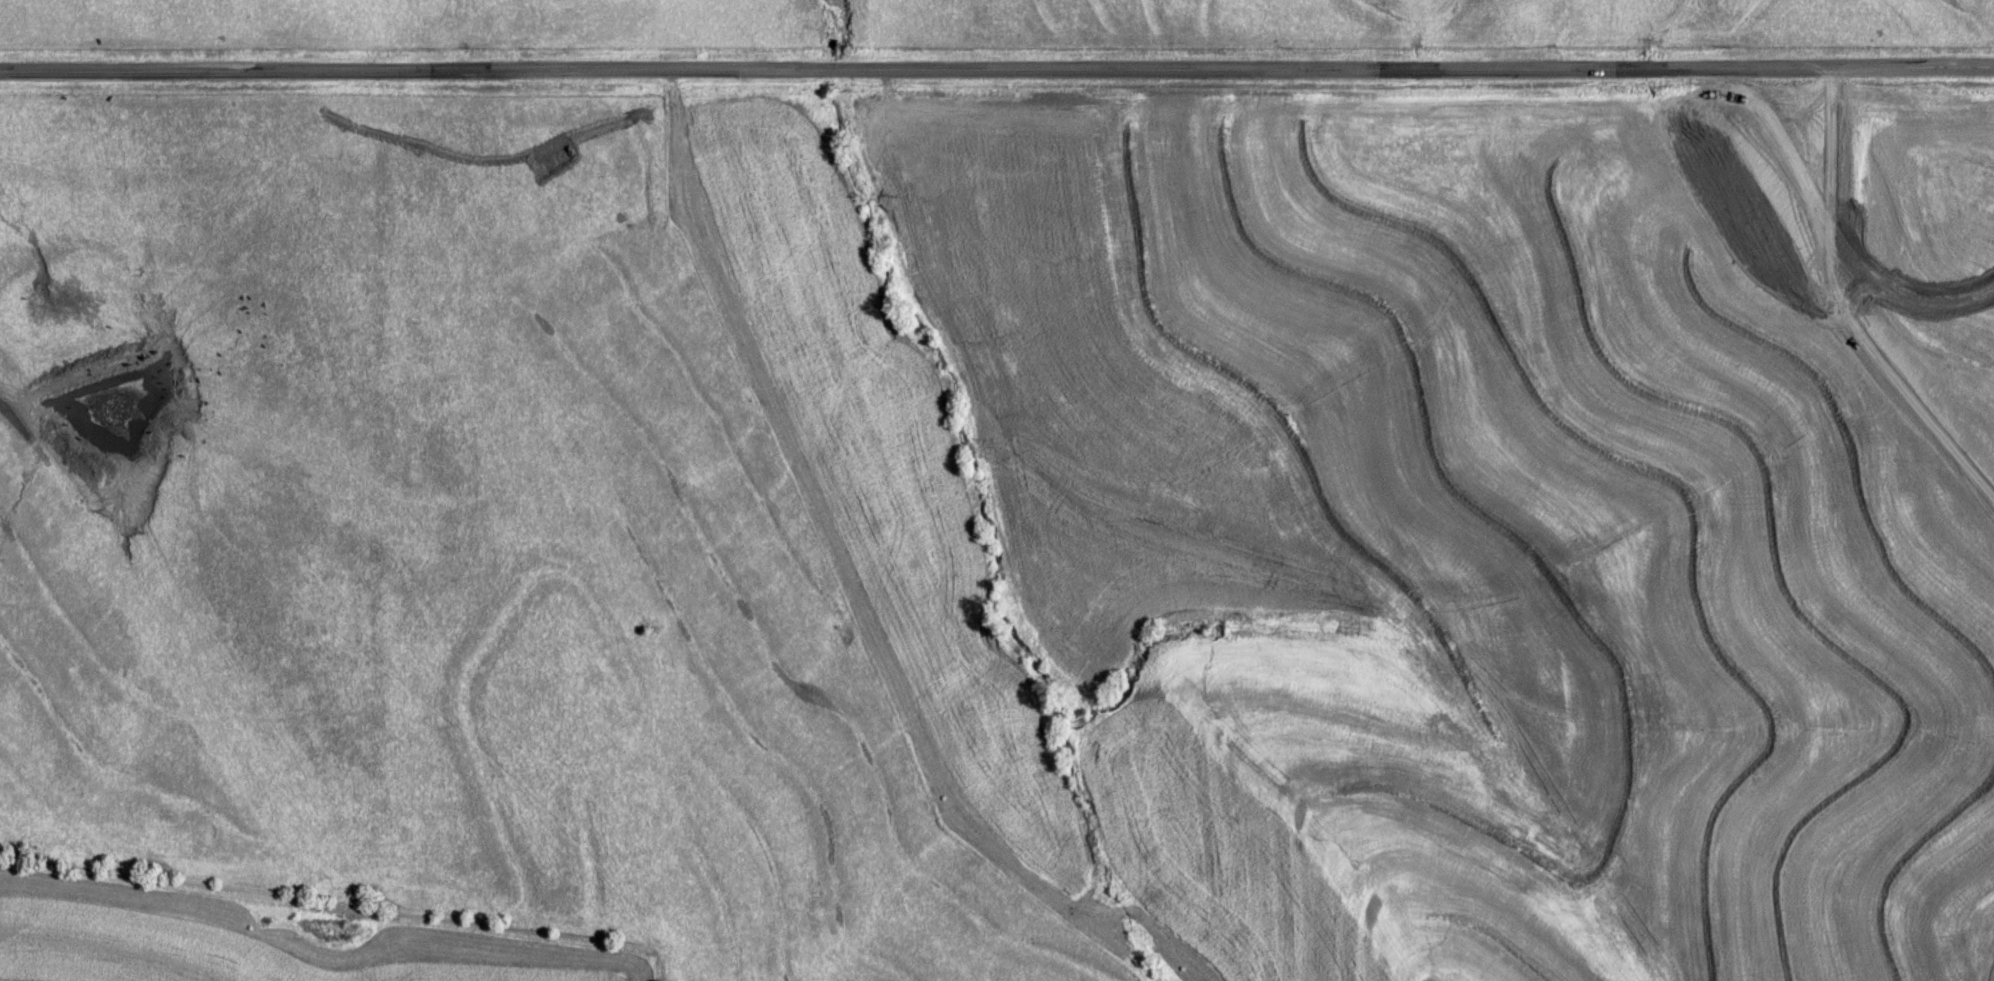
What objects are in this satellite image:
road: (997, 68)
road: (1832, 229)
road: (1847, 304)

